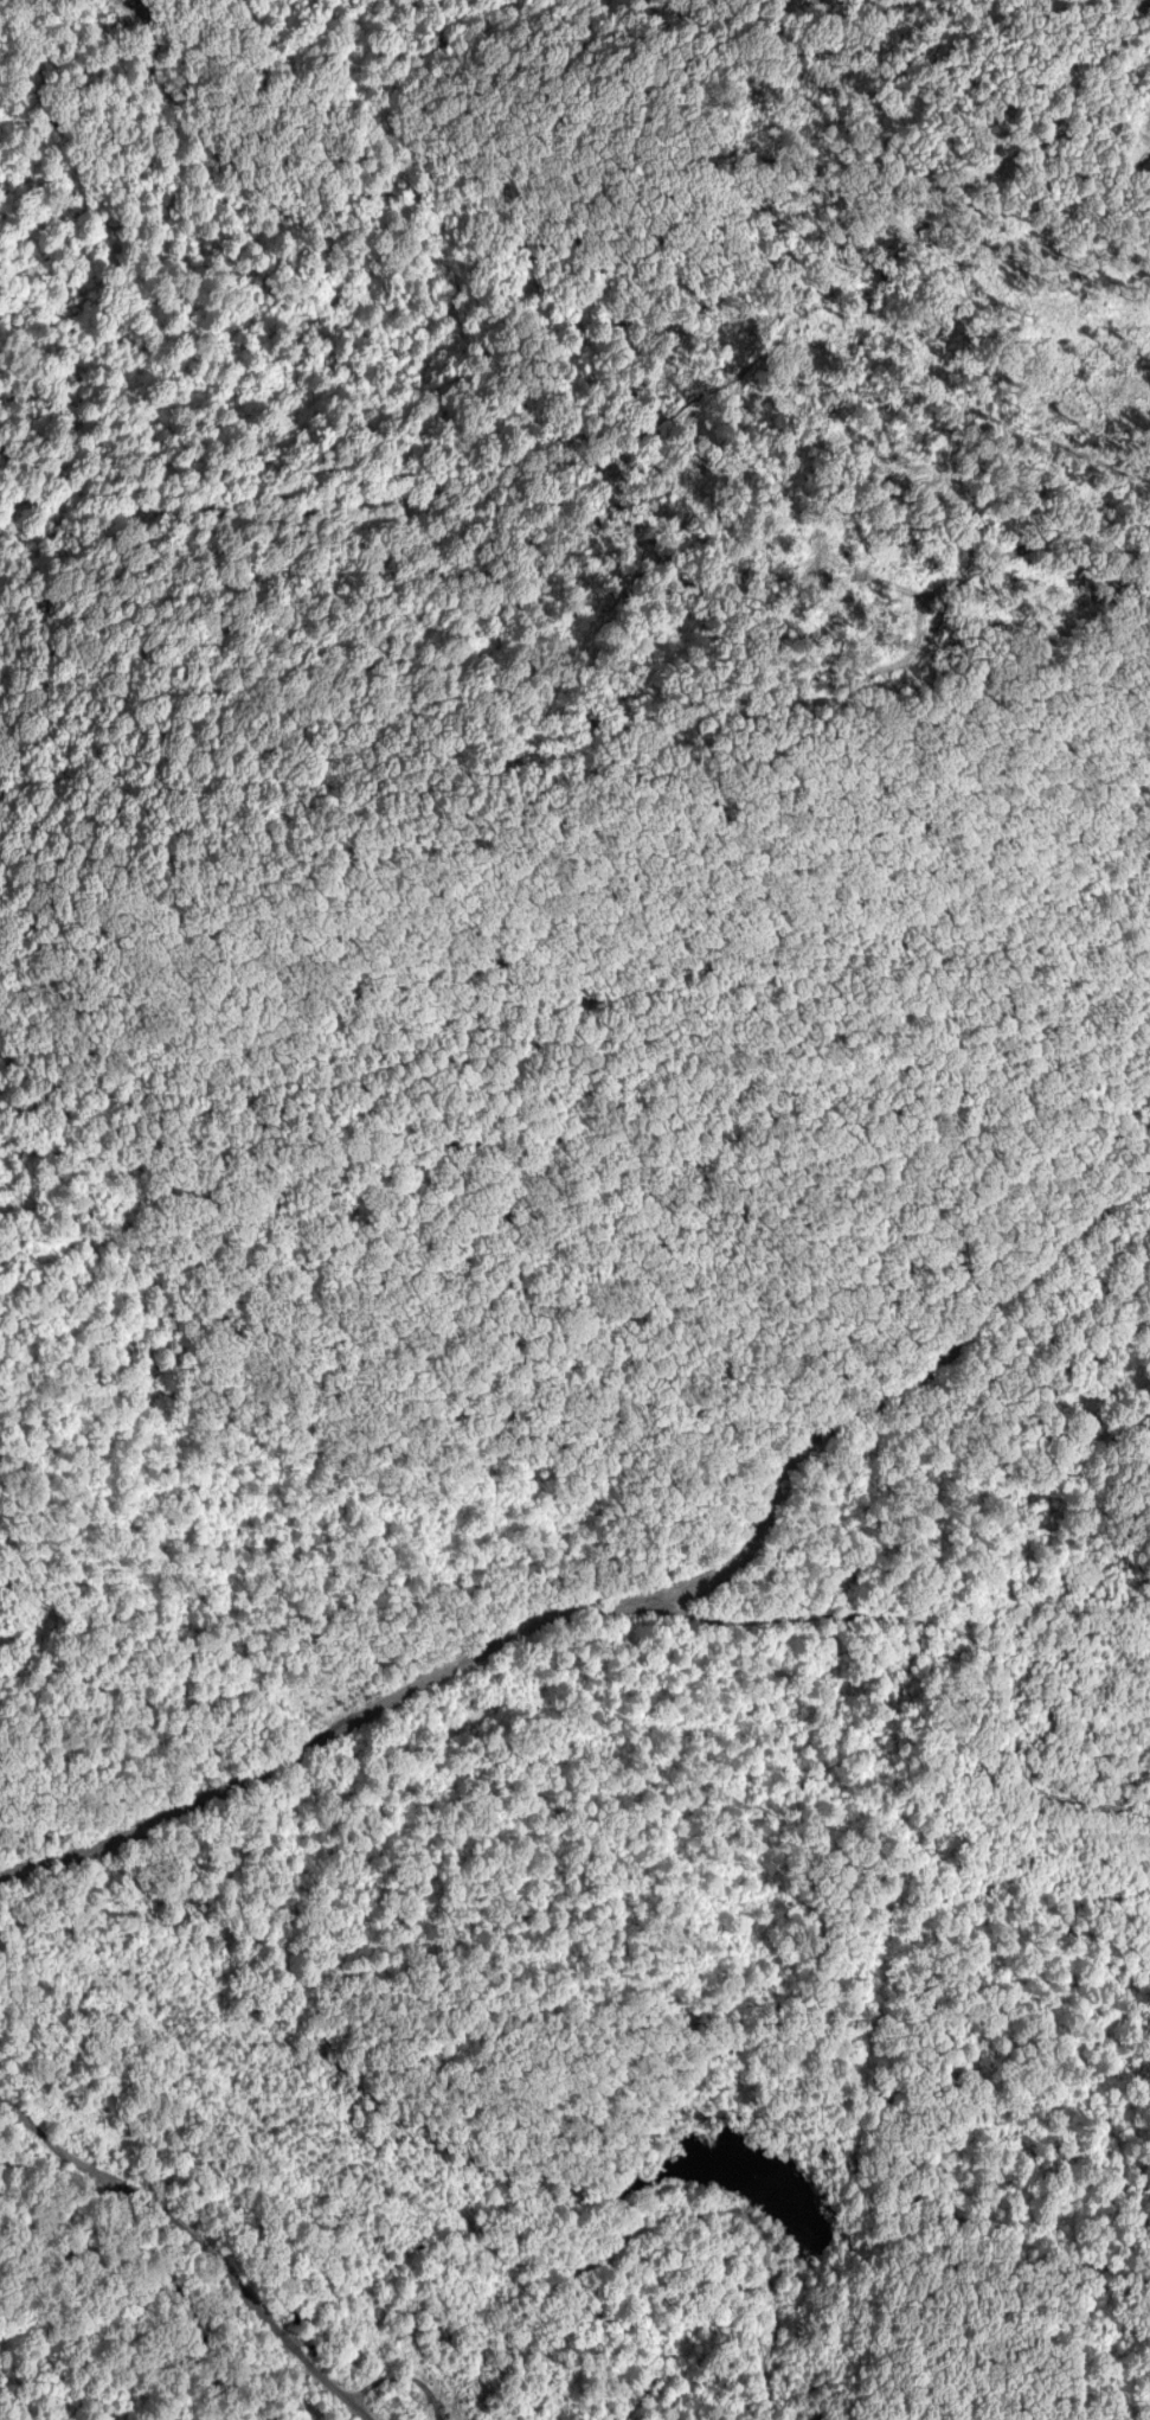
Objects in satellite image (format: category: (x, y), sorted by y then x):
road: (624, 1602)
road: (189, 2247)

